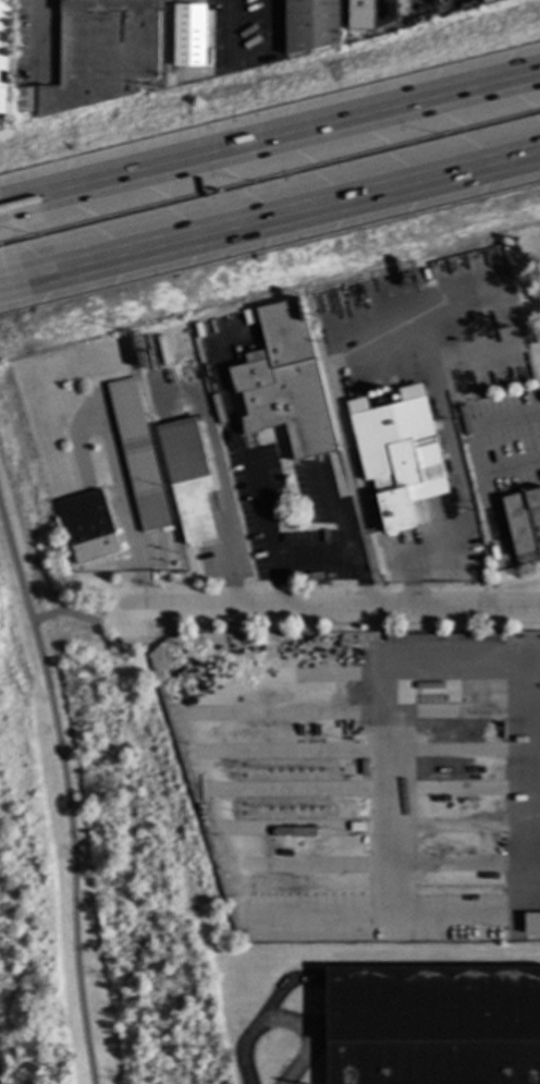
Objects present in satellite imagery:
building: (370, 13)
building: (310, 24)
building: (187, 35)
road: (36, 40)
building: (2, 50)
building: (101, 52)
road: (246, 54)
building: (146, 85)
building: (26, 99)
road: (270, 138)
road: (275, 218)
road: (5, 285)
building: (363, 289)
building: (285, 382)
road: (191, 398)
road: (343, 406)
building: (137, 454)
building: (398, 454)
road: (244, 455)
road: (455, 461)
building: (186, 476)
road: (228, 511)
building: (86, 516)
building: (524, 524)
road: (343, 555)
road: (334, 609)
road: (79, 617)
building: (441, 636)
road: (538, 661)
road: (65, 795)
park: (78, 839)
road: (388, 908)
road: (319, 916)
parking lot: (381, 918)
building: (531, 923)
road: (281, 1022)
building: (433, 1025)

